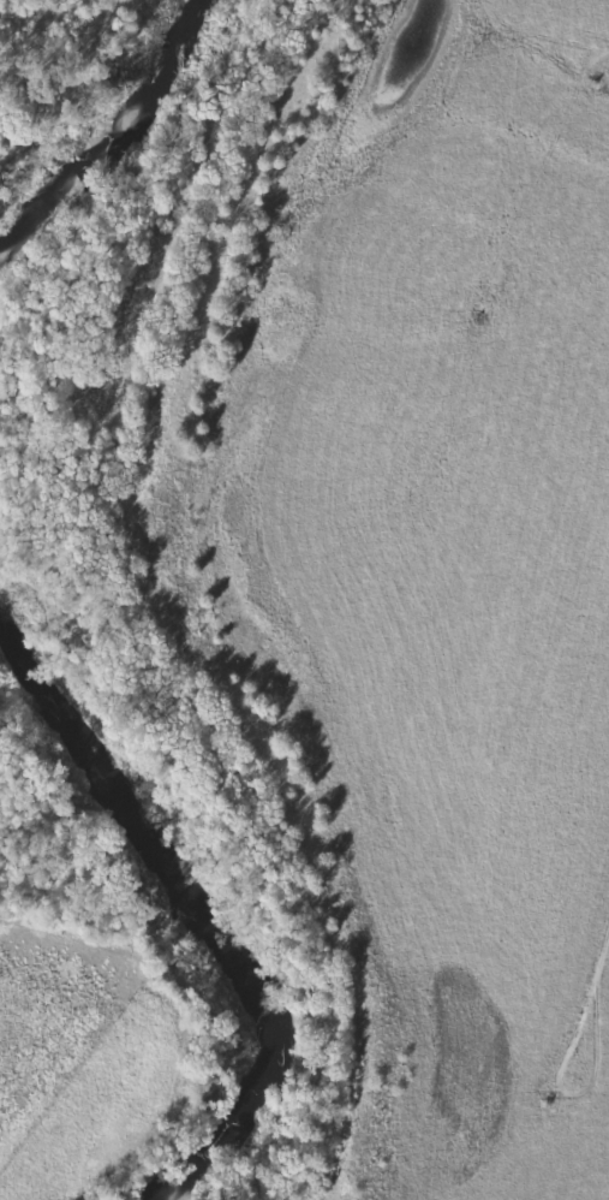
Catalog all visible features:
river: (106, 145)
river: (209, 911)

